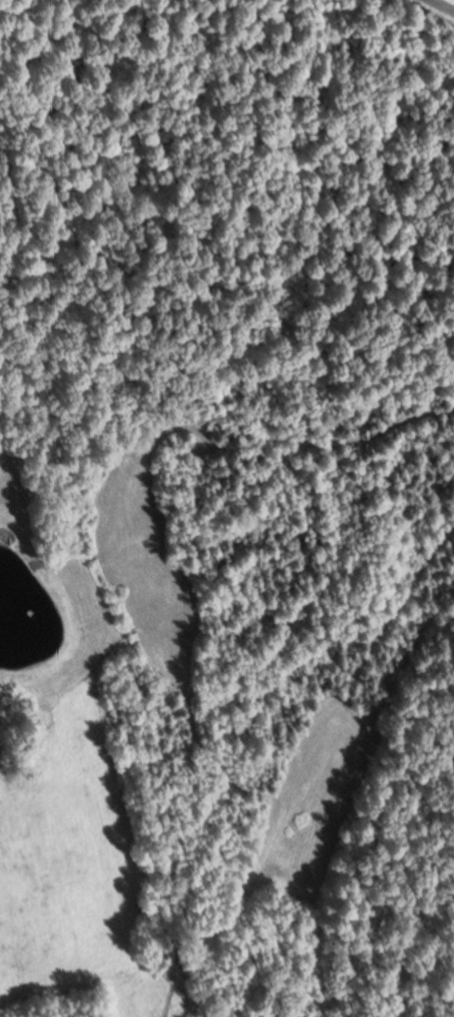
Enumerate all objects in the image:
road: (441, 6)

